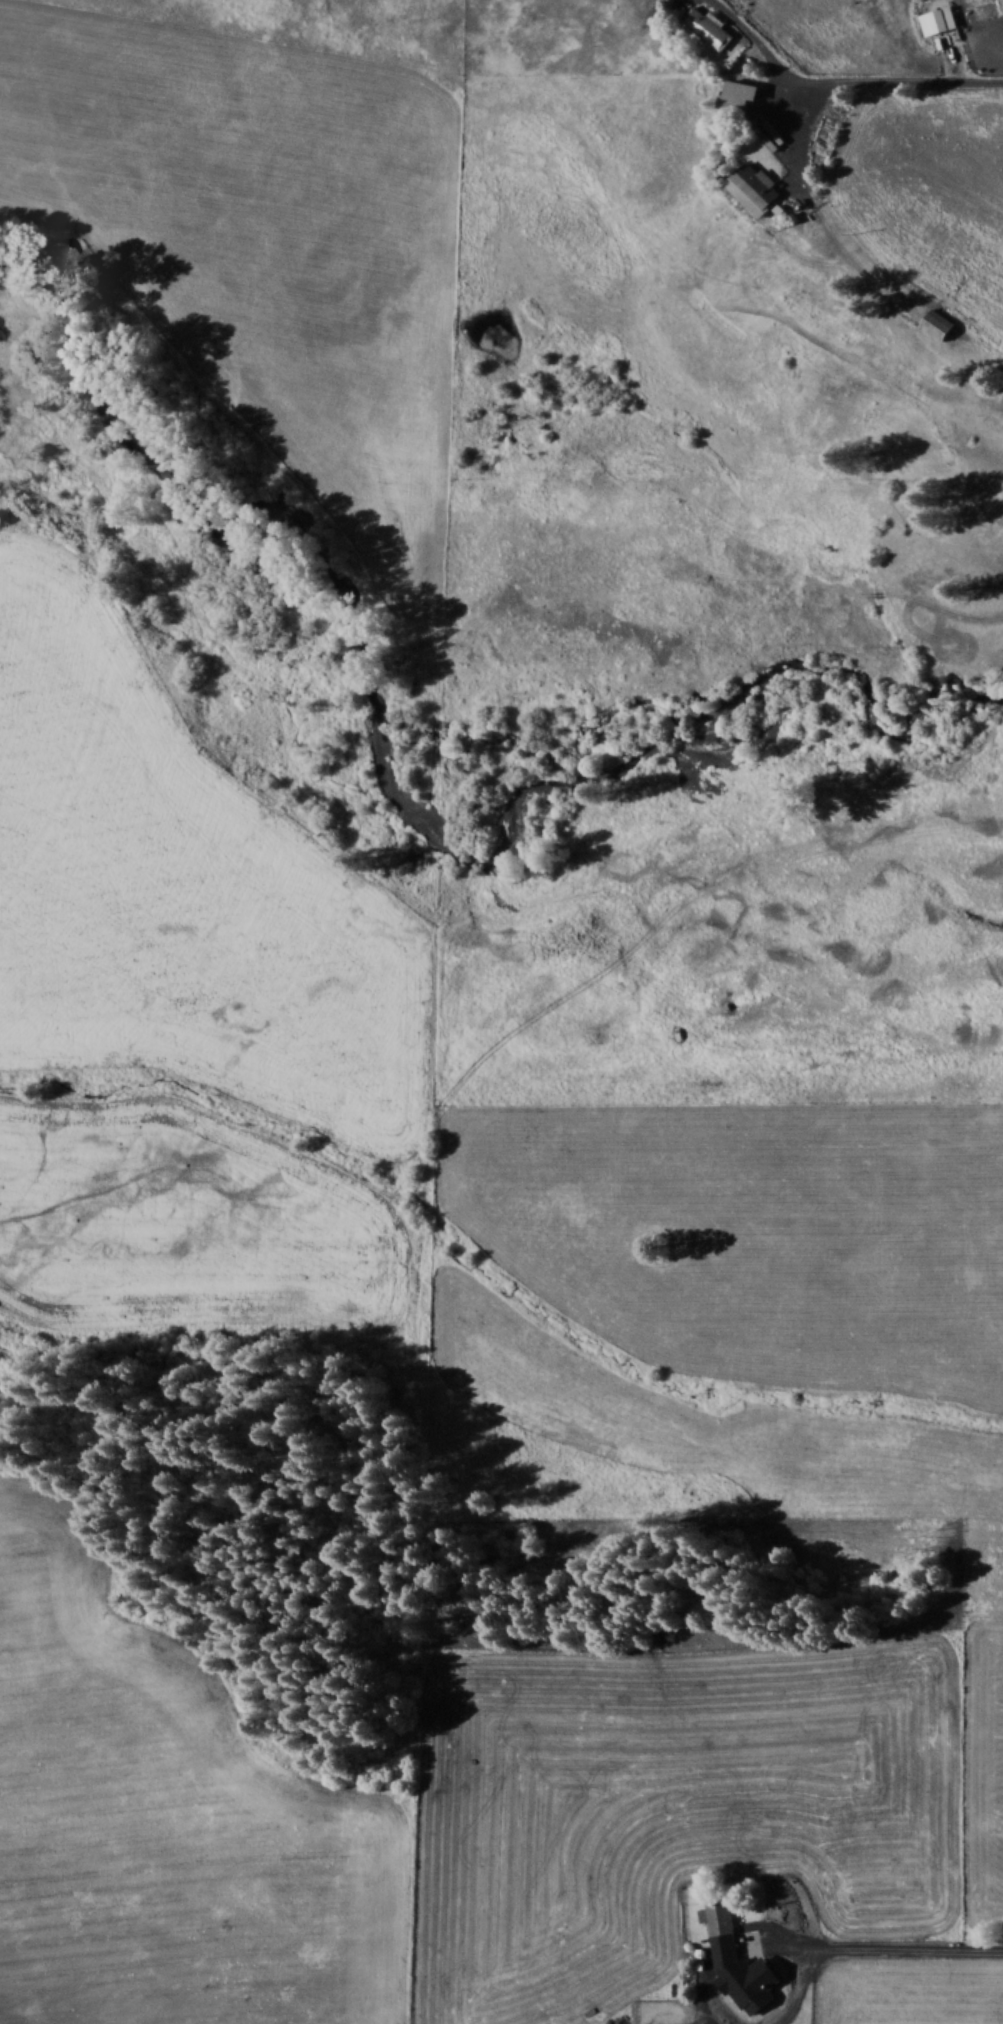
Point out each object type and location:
building: (944, 19)
building: (710, 28)
road: (881, 78)
building: (737, 99)
building: (759, 186)
building: (939, 324)
building: (718, 1917)
road: (867, 1947)

